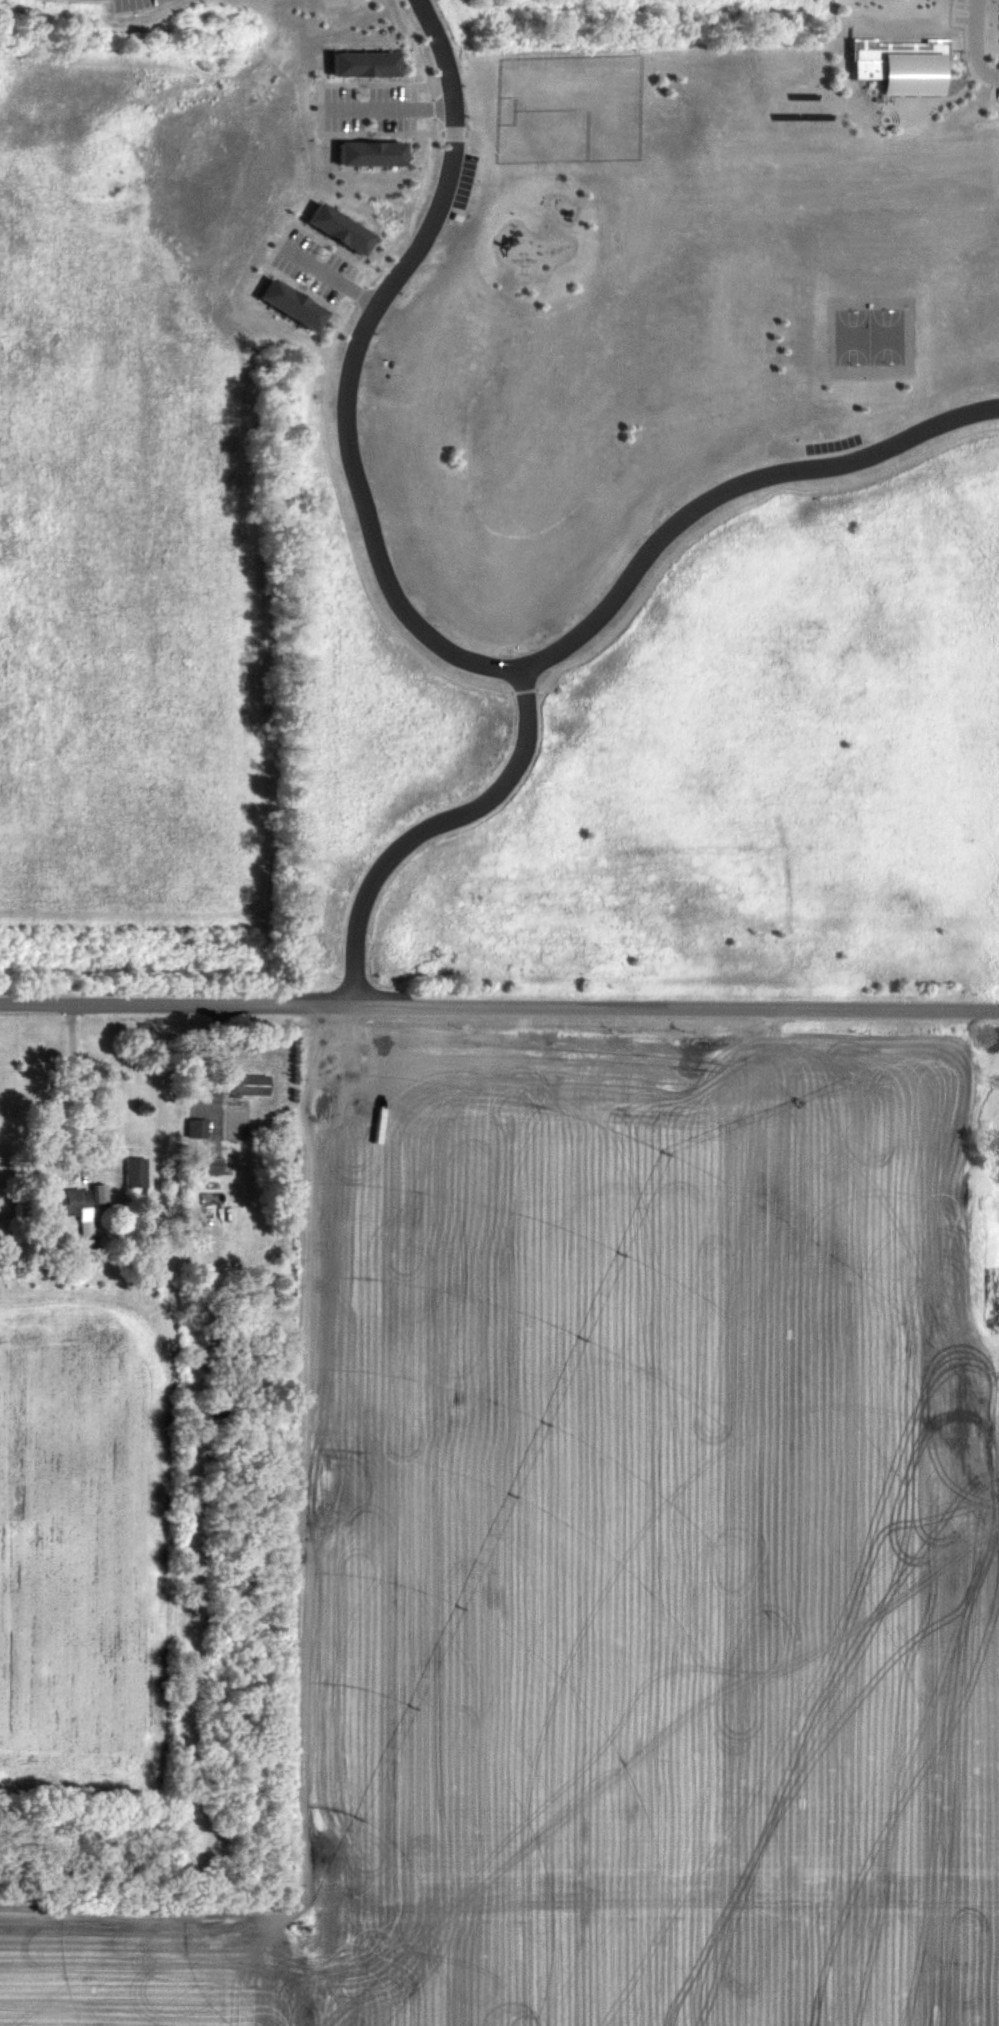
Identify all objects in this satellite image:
road: (979, 45)
building: (896, 66)
road: (393, 111)
road: (337, 283)
road: (421, 631)
road: (435, 832)
road: (499, 1008)
road: (71, 1084)
building: (244, 1086)
building: (206, 1167)
building: (135, 1176)
building: (78, 1203)
building: (993, 1238)

